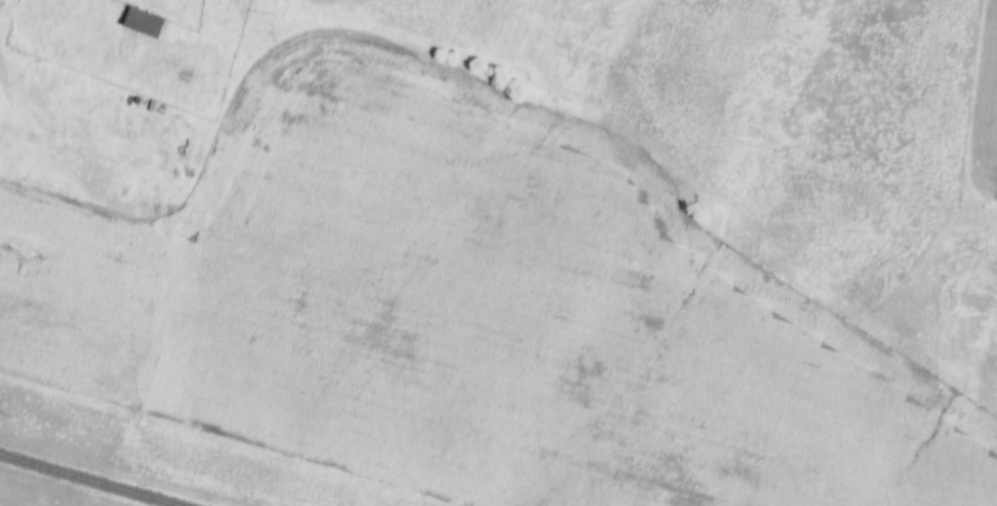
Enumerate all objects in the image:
building: (147, 19)
road: (137, 213)
railway: (92, 479)

